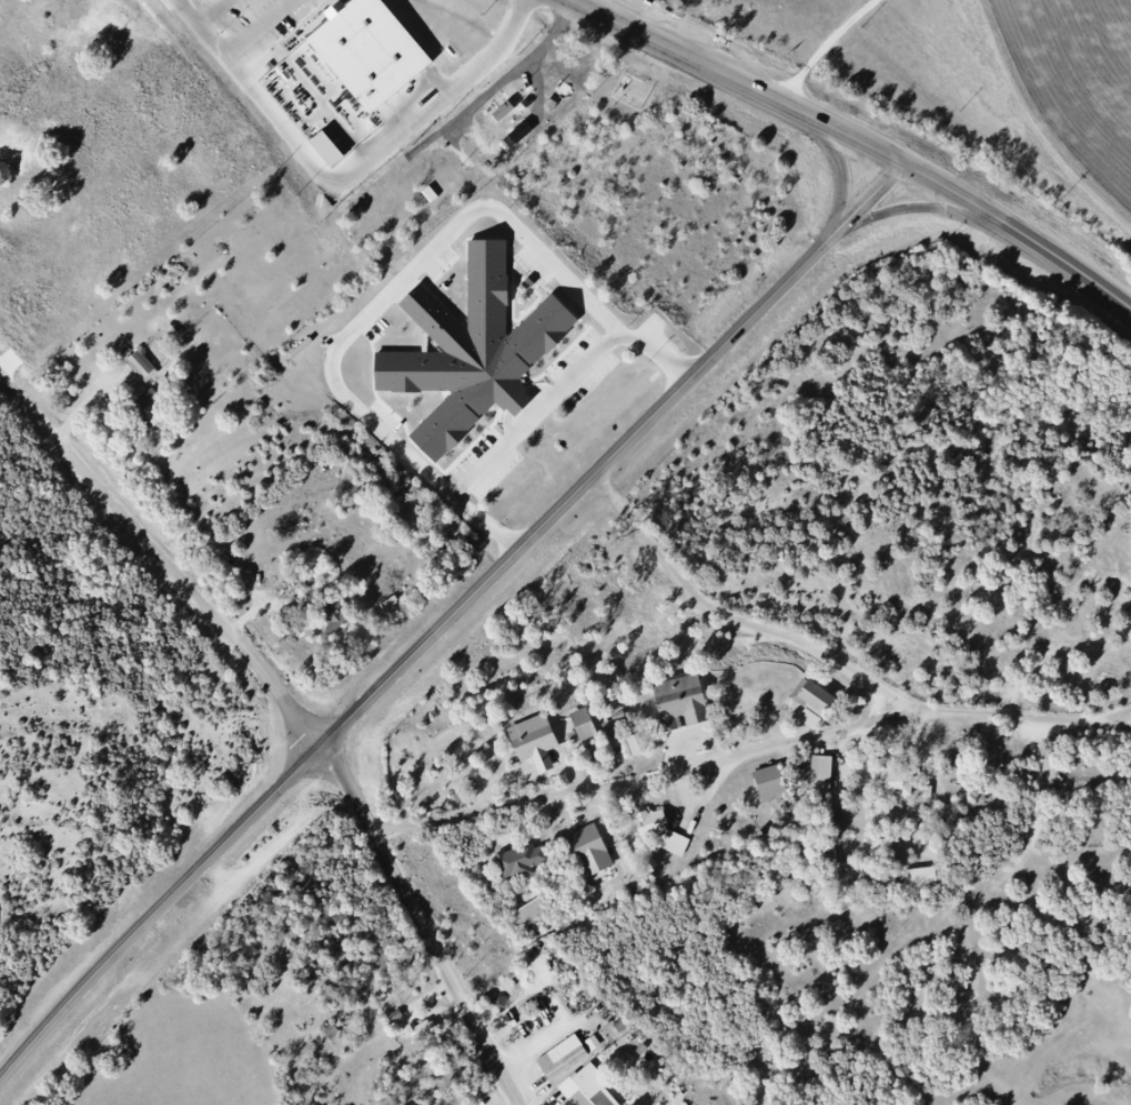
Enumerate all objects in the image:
road: (831, 48)
building: (363, 51)
building: (572, 79)
building: (513, 102)
road: (796, 110)
road: (849, 167)
road: (928, 208)
road: (1072, 267)
road: (404, 279)
building: (471, 351)
road: (14, 368)
parking lot: (578, 370)
building: (159, 388)
road: (536, 415)
parking lot: (486, 466)
building: (305, 583)
building: (340, 621)
road: (447, 621)
road: (844, 657)
building: (818, 706)
building: (630, 709)
building: (689, 709)
road: (316, 719)
building: (589, 731)
building: (542, 747)
building: (594, 755)
building: (828, 781)
road: (655, 787)
building: (779, 788)
building: (900, 790)
building: (667, 834)
building: (596, 855)
building: (526, 862)
building: (929, 883)
building: (538, 918)
building: (424, 1032)
building: (568, 1062)
building: (593, 1089)

